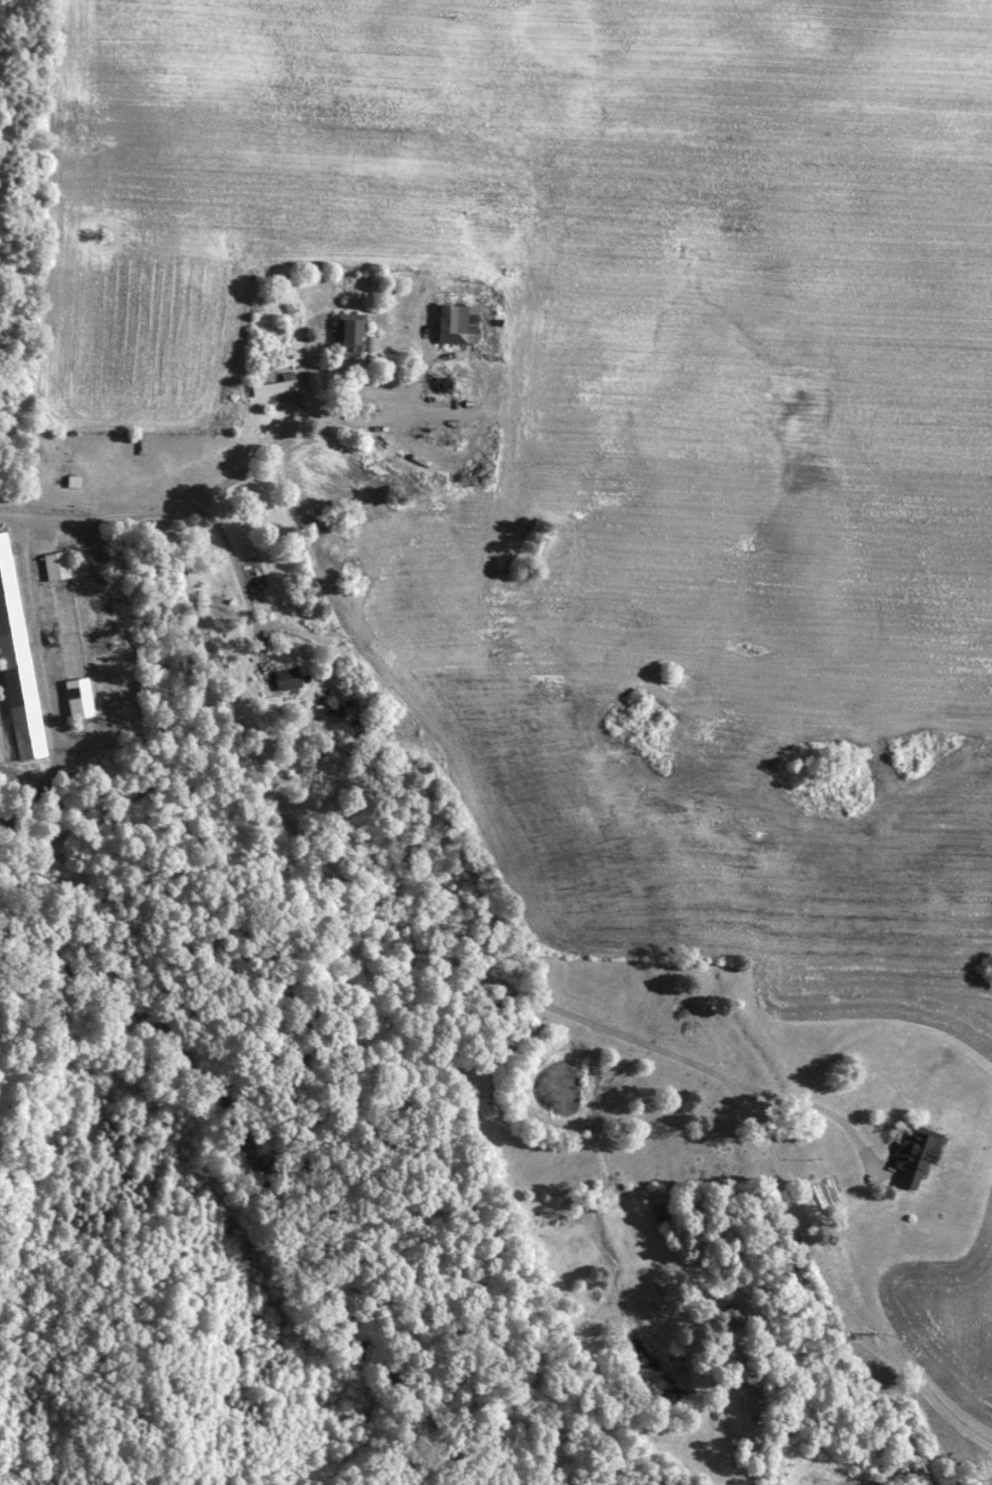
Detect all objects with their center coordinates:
building: (451, 324)
building: (340, 332)
building: (274, 388)
building: (73, 482)
road: (211, 484)
building: (50, 564)
building: (13, 669)
building: (282, 678)
building: (72, 696)
building: (329, 709)
building: (909, 1156)
building: (748, 1403)
road: (723, 1426)

